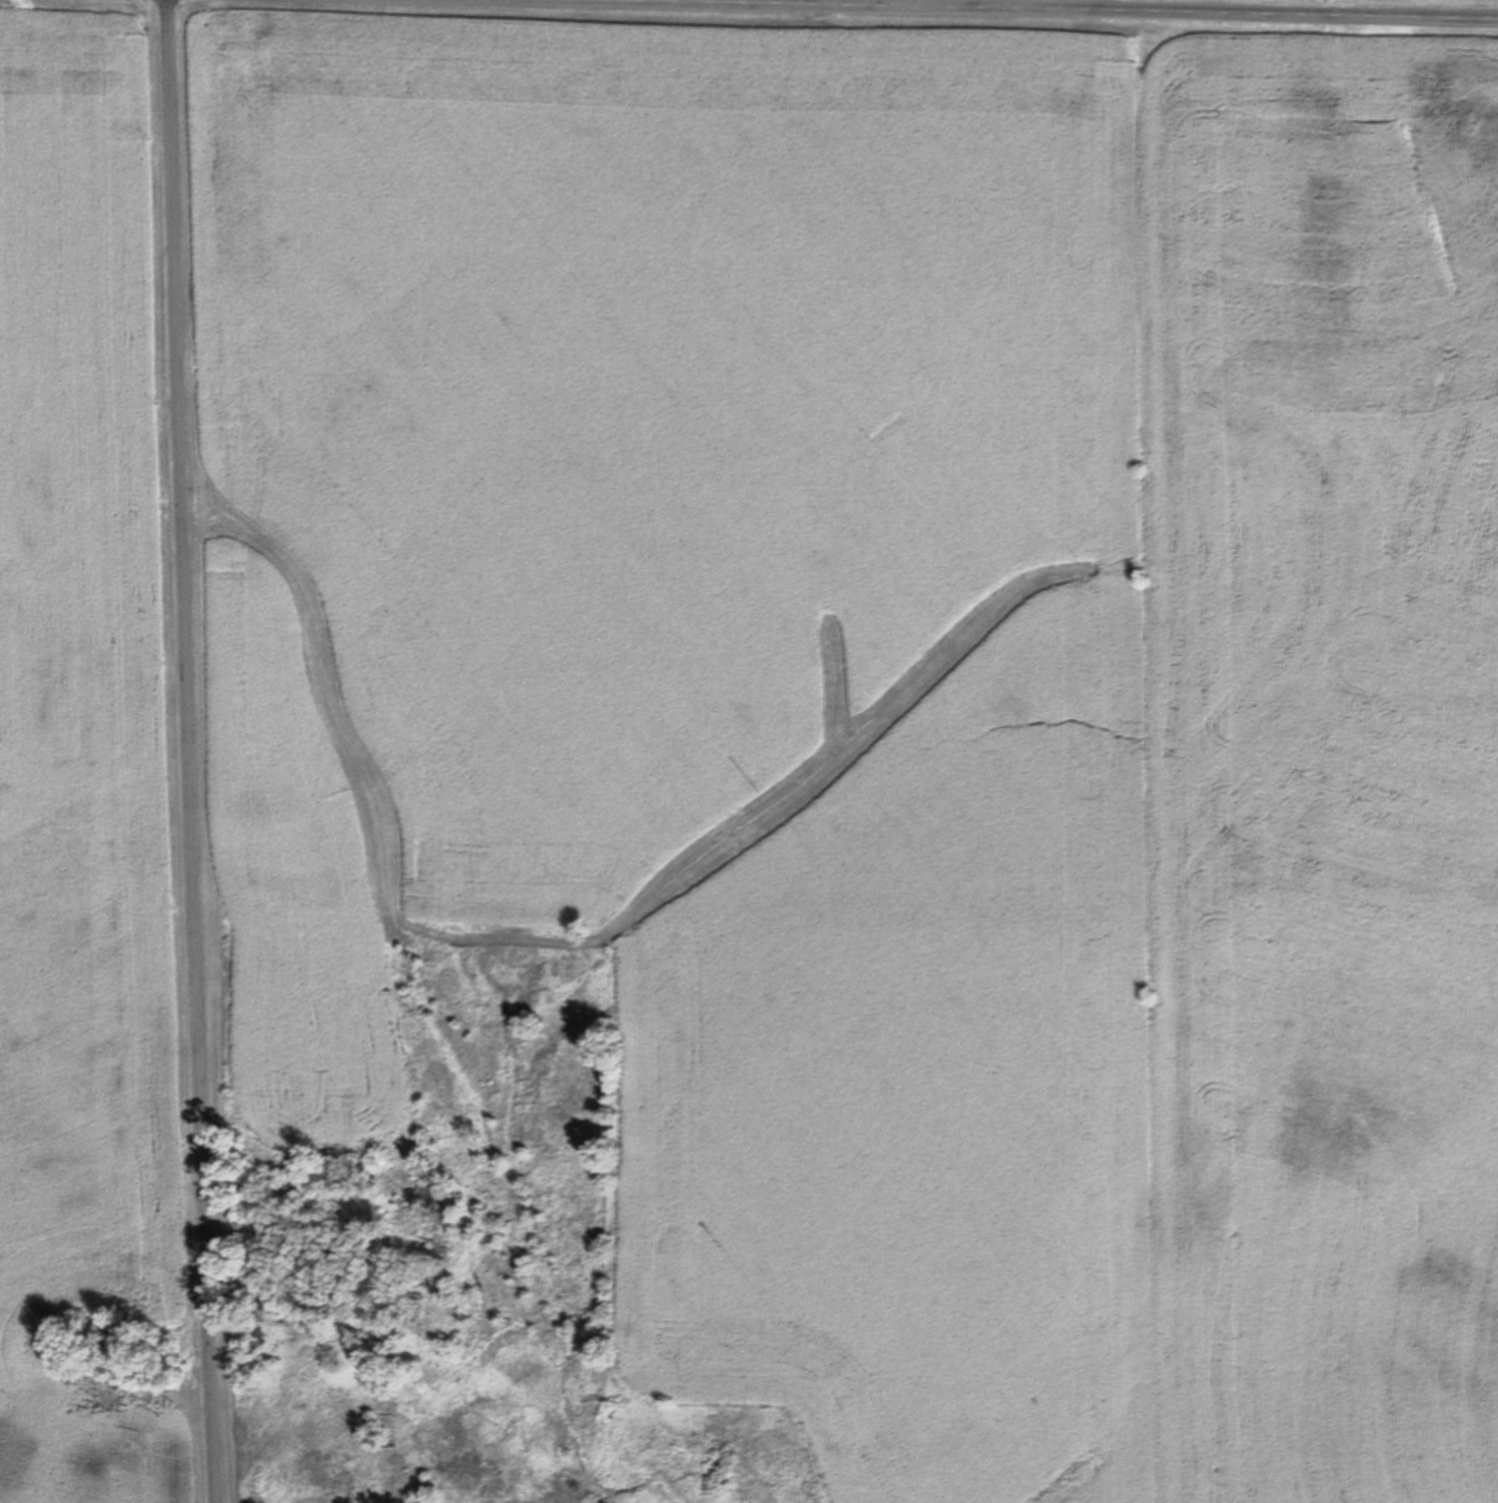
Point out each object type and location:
road: (1004, 11)
road: (192, 751)

